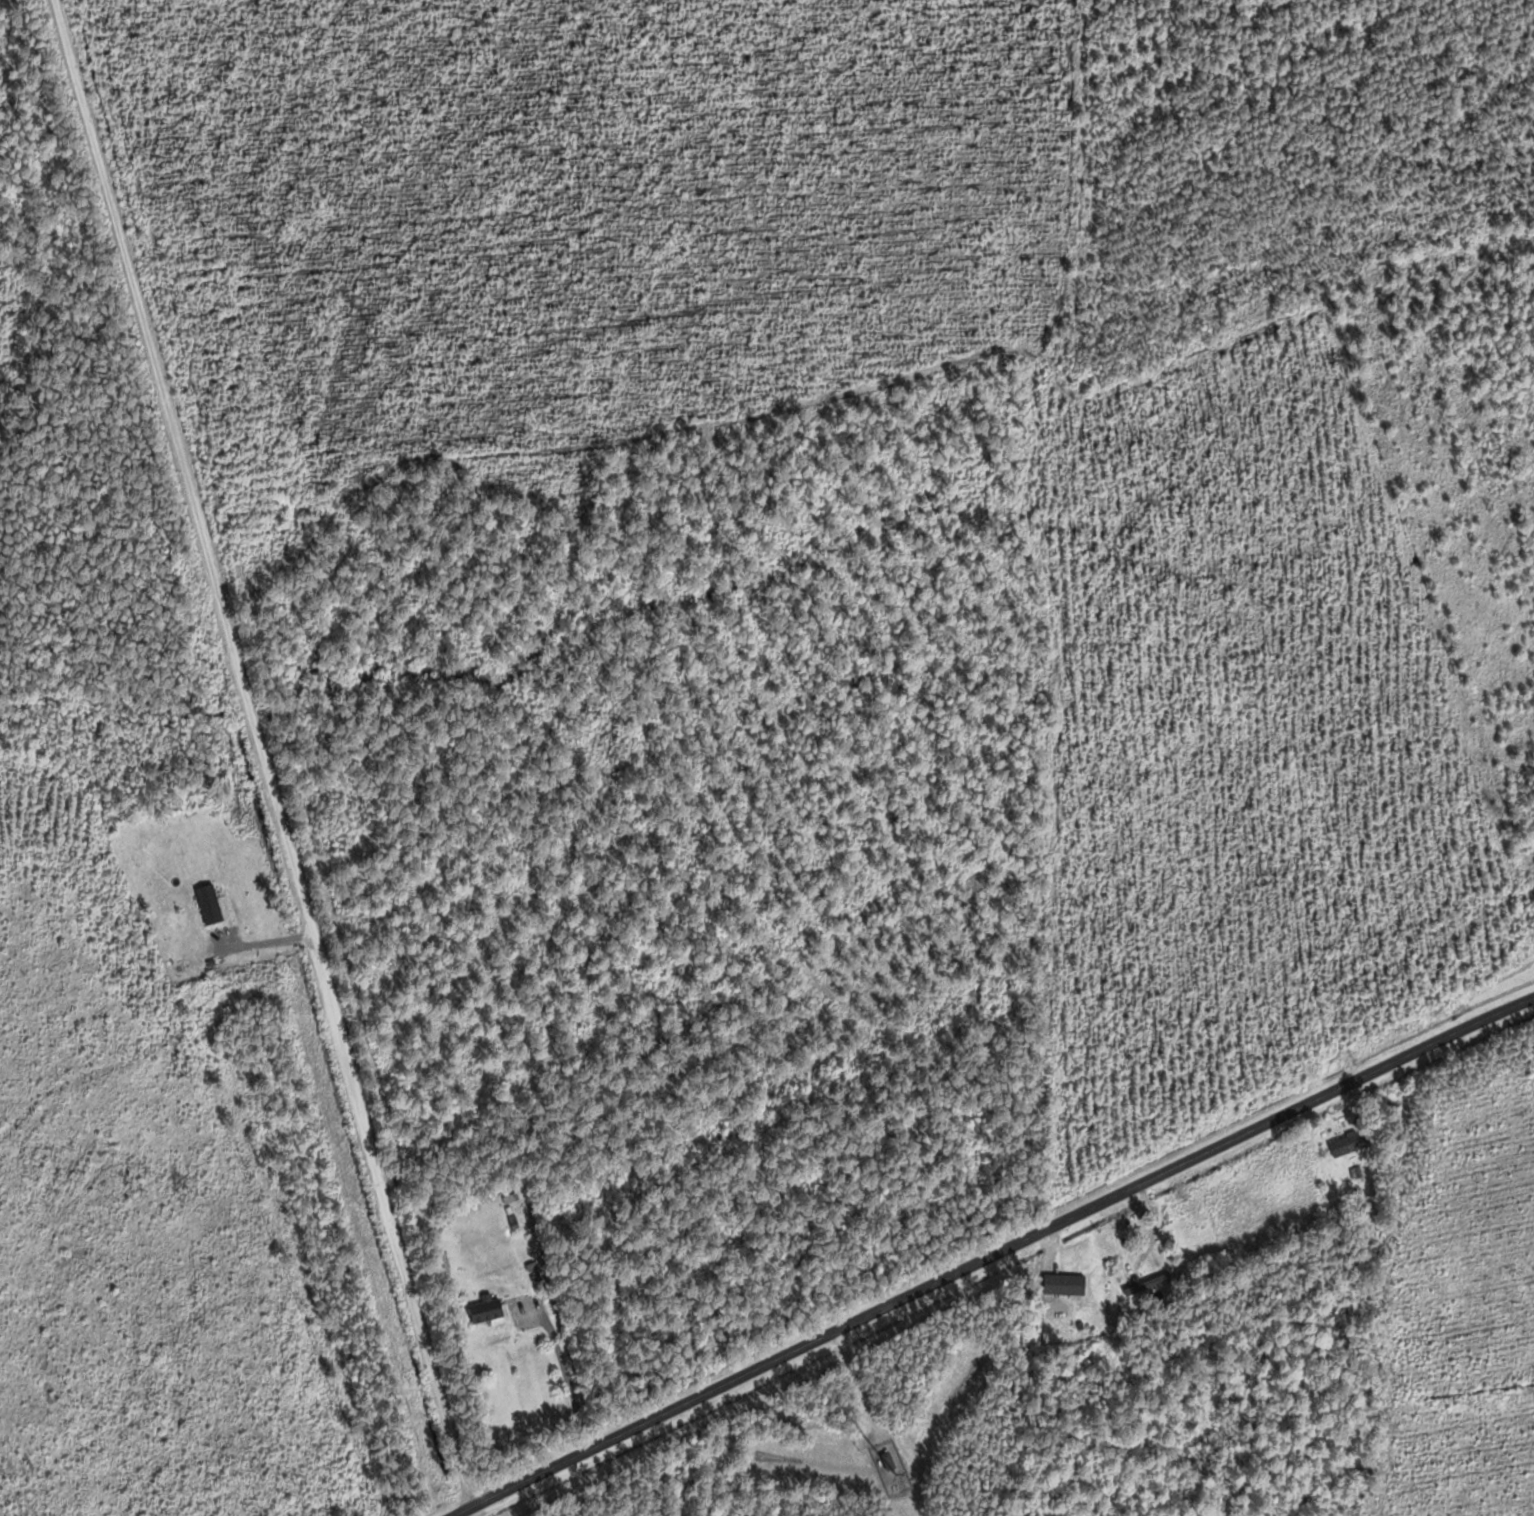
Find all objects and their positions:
road: (260, 753)
building: (1350, 1143)
road: (986, 1252)
building: (1149, 1283)
road: (1442, 1287)
building: (1072, 1289)
building: (489, 1310)
building: (890, 1461)

